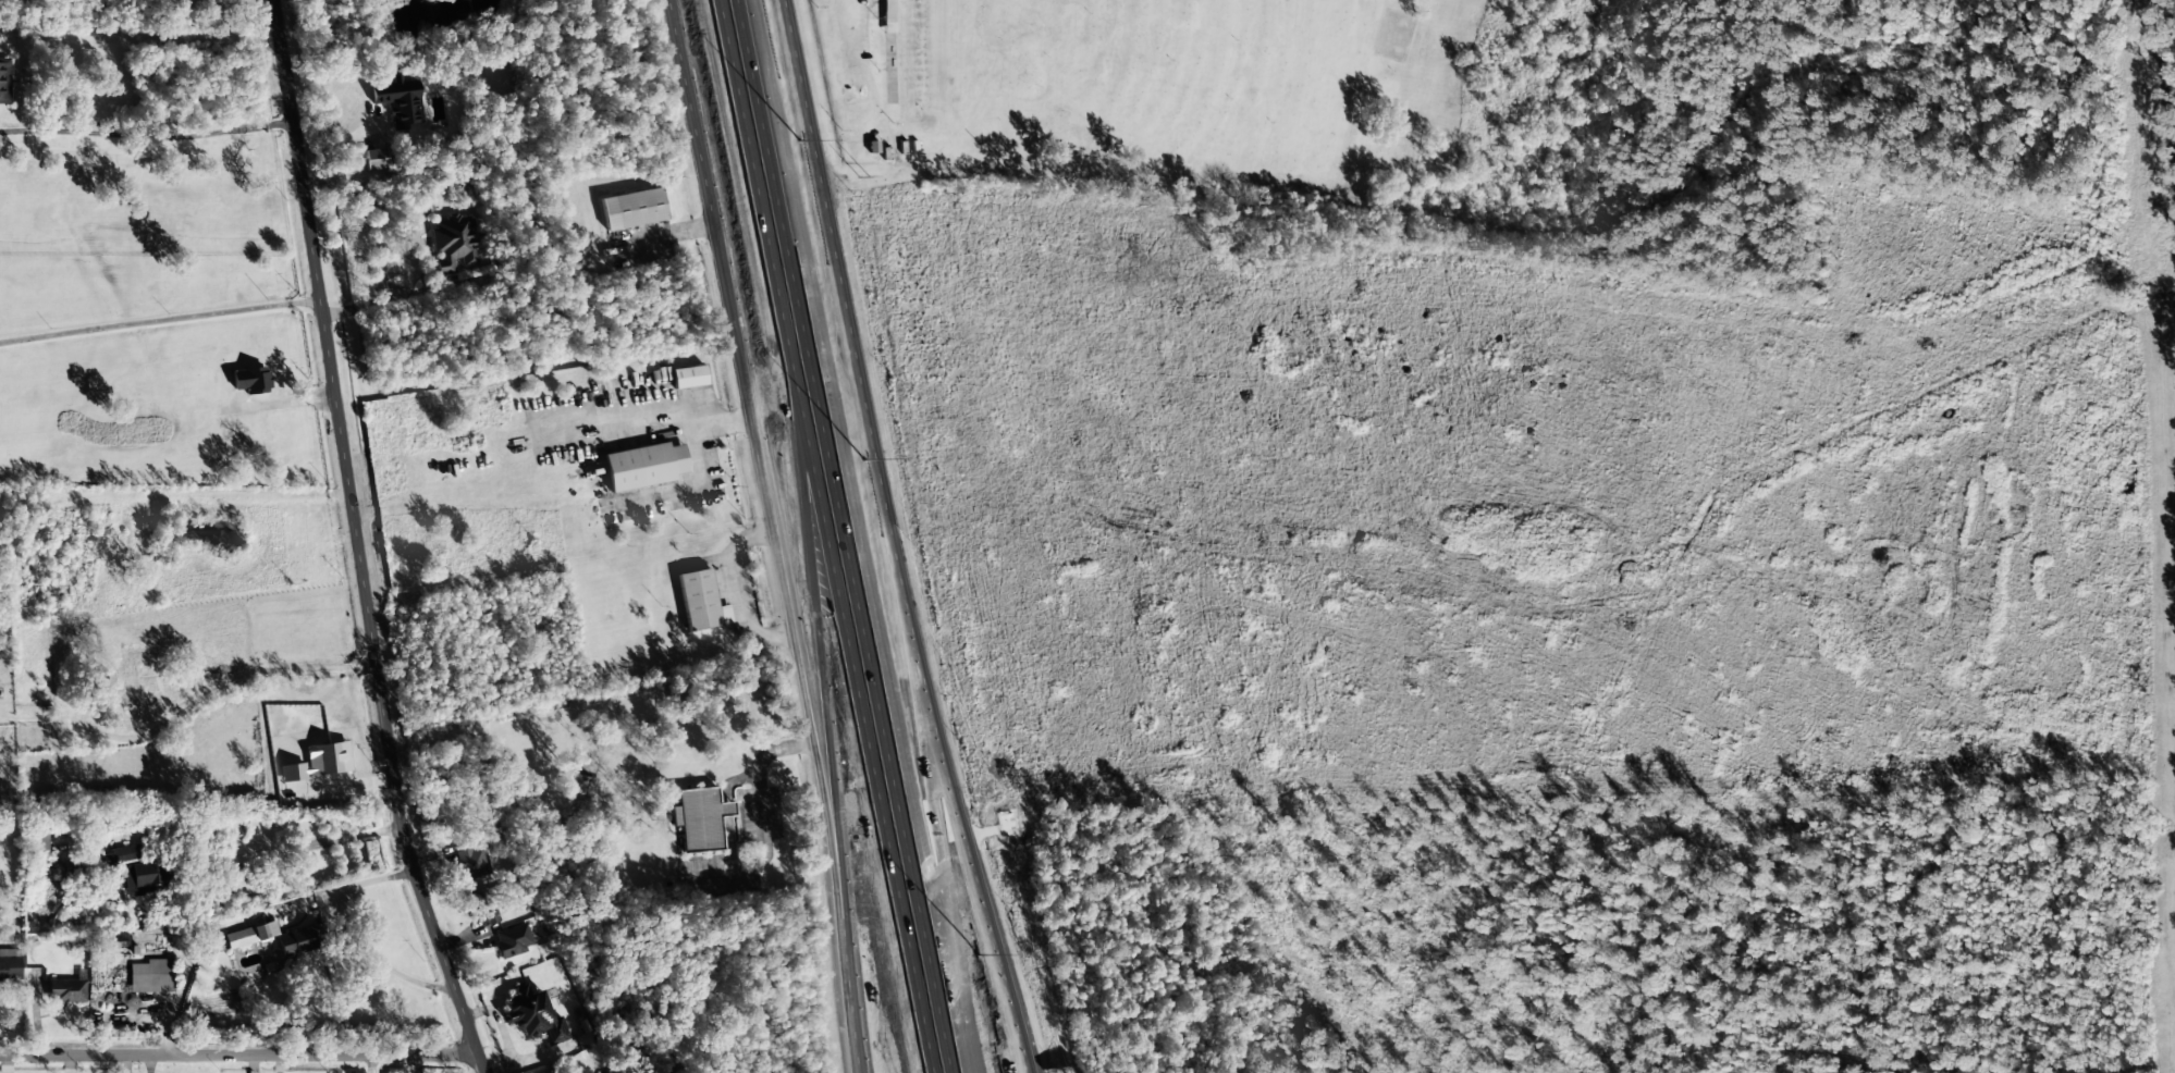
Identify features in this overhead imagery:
road: (869, 28)
building: (4, 82)
park: (1189, 85)
building: (397, 99)
building: (374, 159)
road: (704, 187)
building: (632, 209)
building: (452, 243)
building: (688, 377)
building: (250, 380)
building: (643, 466)
road: (821, 536)
road: (843, 536)
road: (890, 540)
road: (358, 541)
road: (875, 568)
building: (700, 602)
road: (801, 692)
road: (826, 718)
building: (700, 819)
building: (40, 843)
building: (123, 855)
building: (471, 862)
building: (143, 878)
building: (482, 908)
building: (250, 935)
building: (302, 940)
building: (513, 940)
building: (10, 965)
building: (151, 976)
building: (67, 990)
building: (533, 1016)
road: (855, 1041)
road: (239, 1056)
building: (565, 1071)

